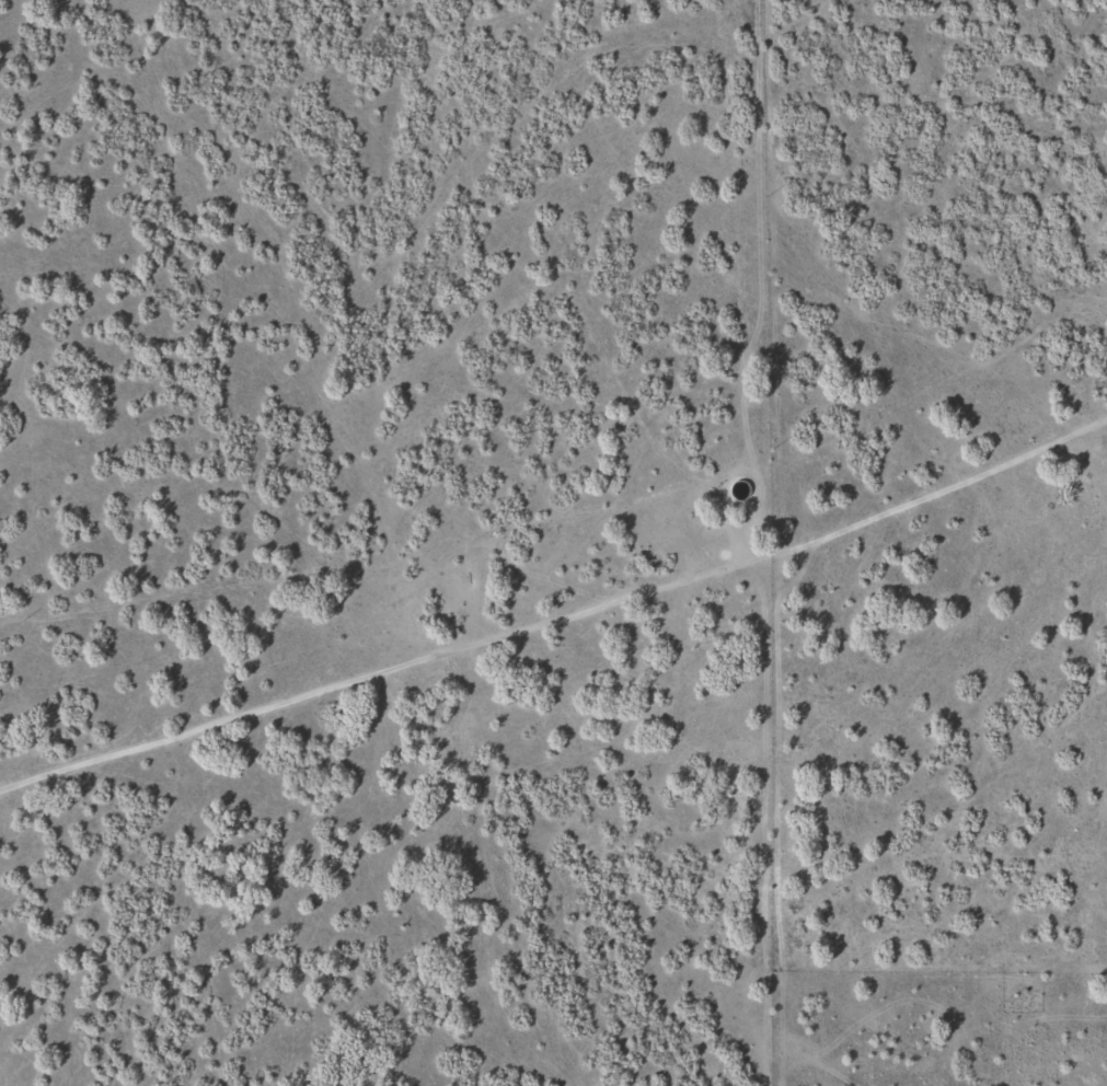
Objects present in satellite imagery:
road: (934, 489)
road: (643, 585)

